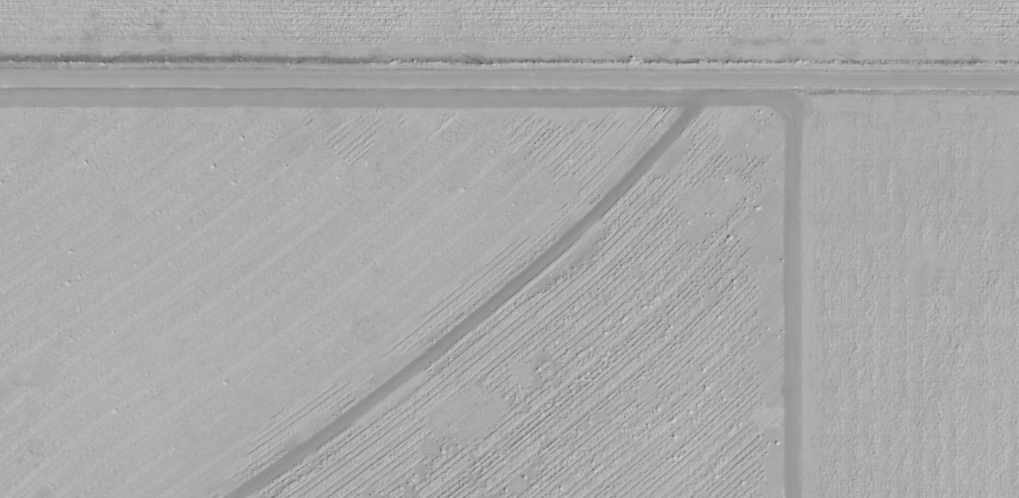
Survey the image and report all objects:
road: (509, 74)

